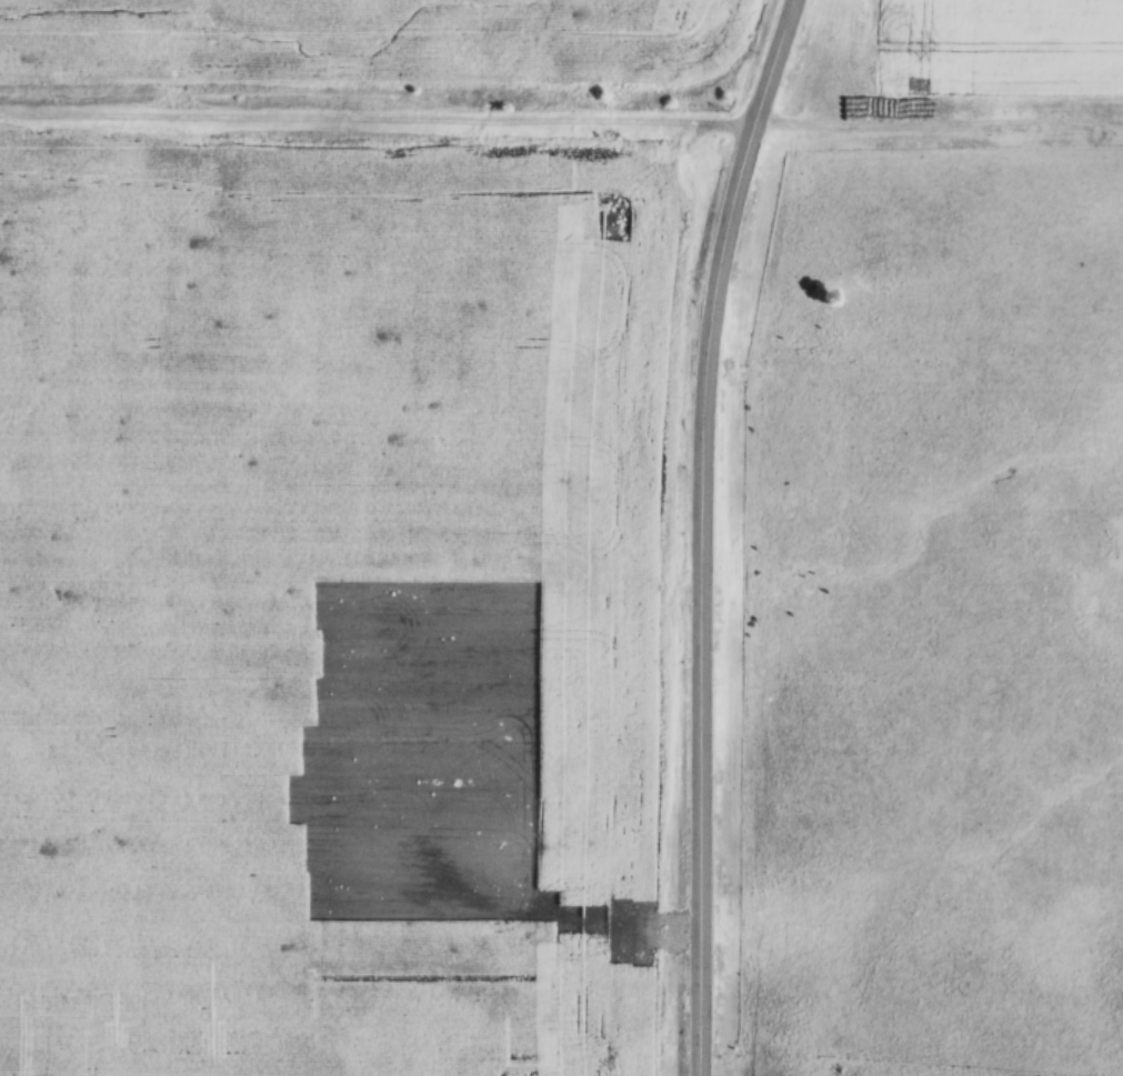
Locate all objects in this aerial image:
road: (701, 532)

